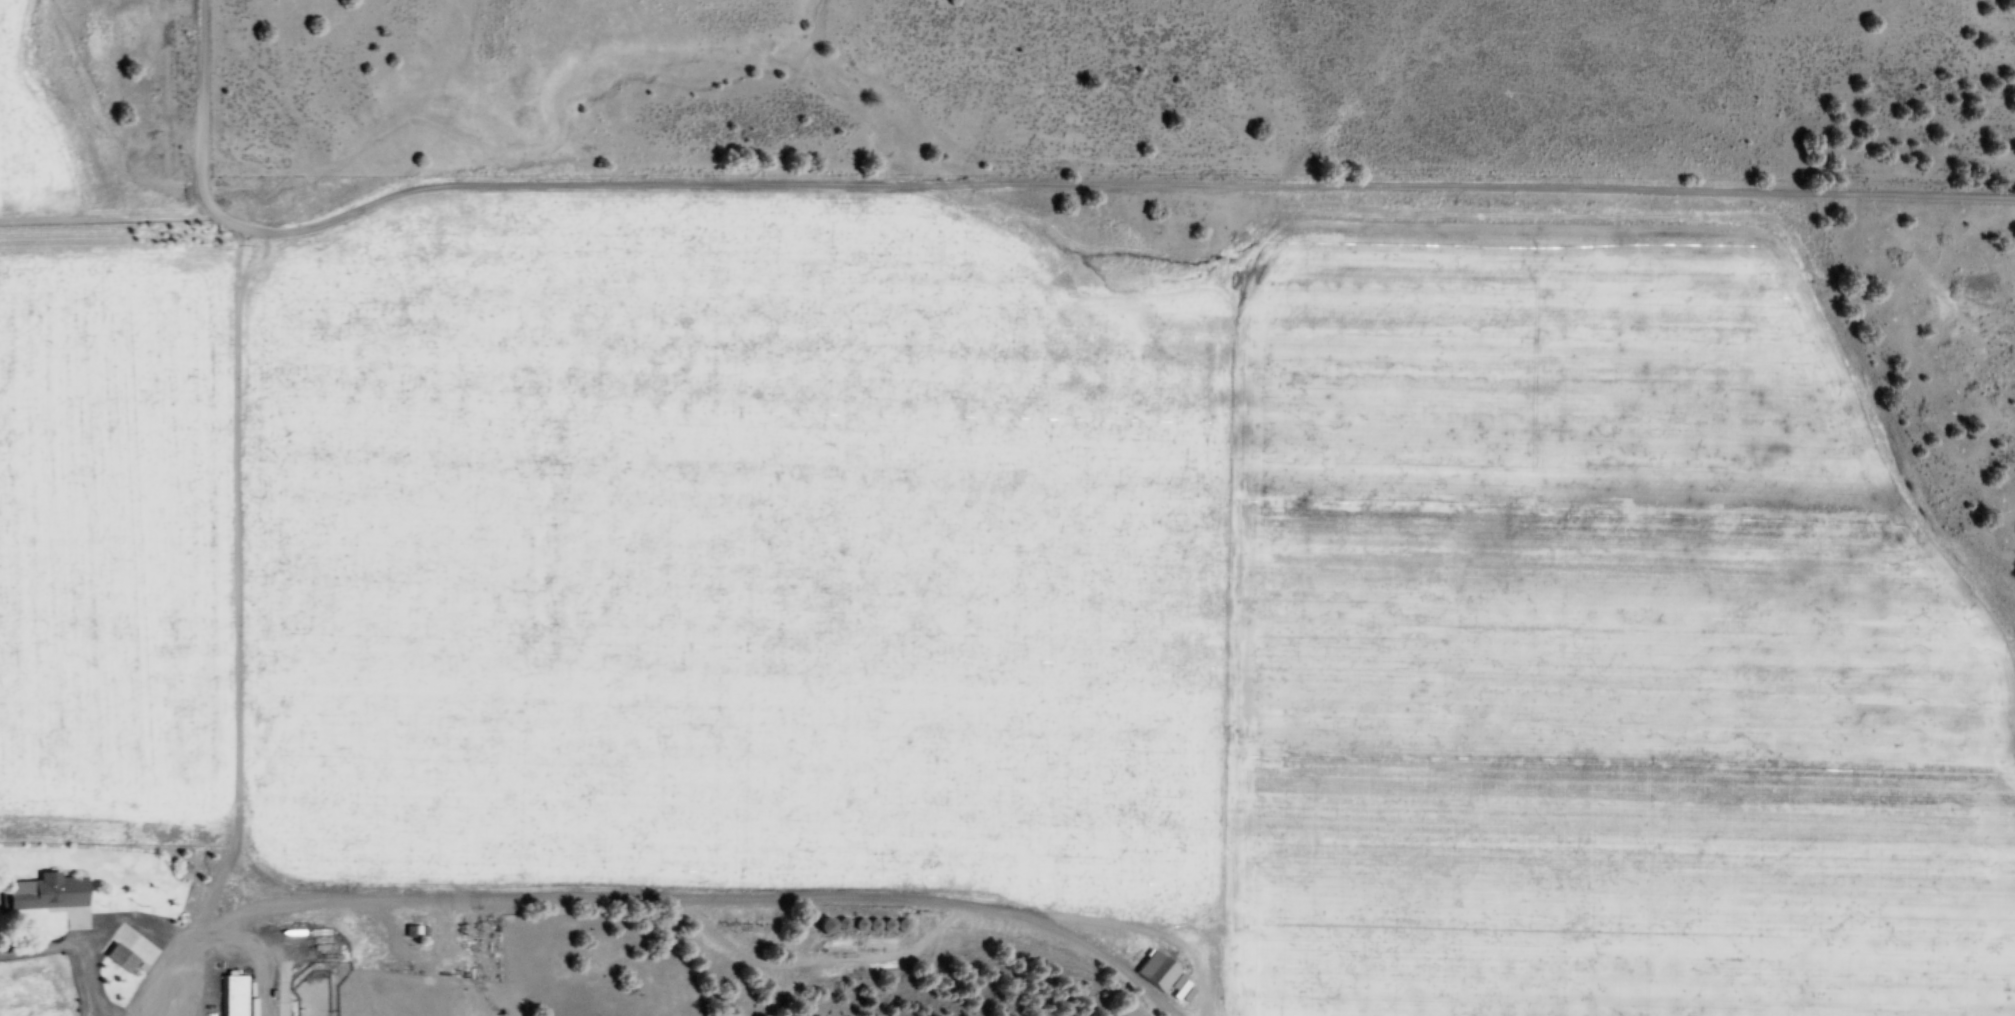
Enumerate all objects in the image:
building: (42, 893)
road: (652, 896)
building: (117, 958)
building: (1154, 972)
building: (234, 996)

